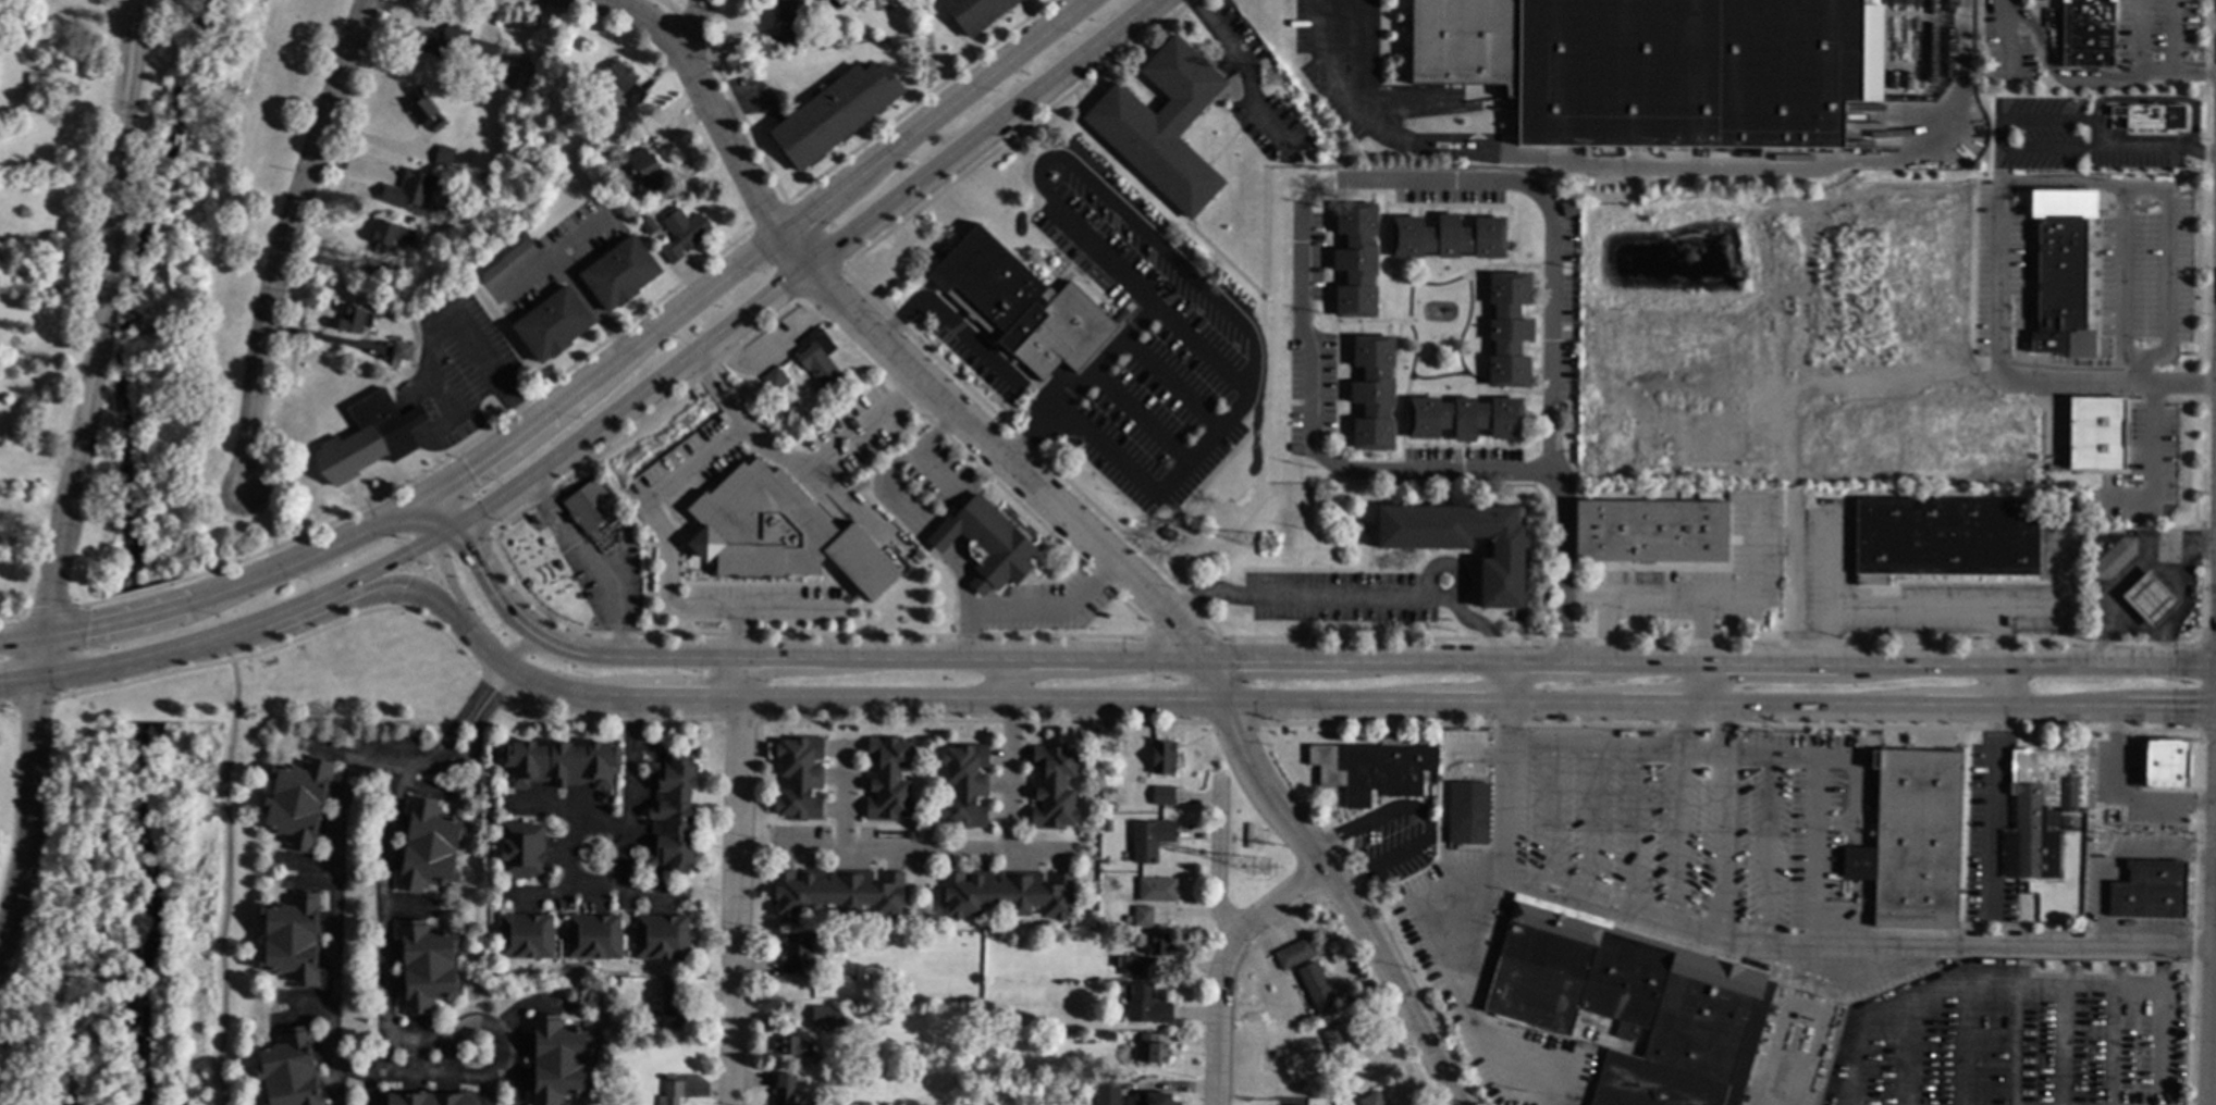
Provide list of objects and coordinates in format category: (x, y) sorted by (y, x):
building: (975, 13)
building: (790, 20)
road: (689, 25)
road: (2007, 32)
building: (2085, 33)
road: (2143, 35)
road: (2175, 35)
building: (457, 45)
building: (1659, 66)
road: (1245, 70)
road: (2092, 74)
power tower: (1276, 77)
building: (623, 86)
building: (487, 87)
road: (1427, 99)
building: (519, 101)
building: (424, 111)
building: (834, 113)
building: (2146, 116)
building: (2116, 117)
building: (1162, 125)
road: (2157, 147)
building: (443, 157)
road: (1657, 159)
building: (648, 173)
road: (1402, 185)
building: (610, 186)
road: (2018, 186)
building: (407, 189)
building: (1568, 209)
building: (647, 225)
building: (681, 234)
building: (390, 235)
building: (1448, 237)
road: (283, 241)
road: (762, 245)
building: (500, 258)
building: (1355, 260)
road: (810, 266)
building: (376, 270)
building: (619, 273)
building: (2060, 273)
park: (199, 280)
road: (2120, 281)
river: (181, 289)
road: (588, 306)
building: (1020, 306)
building: (354, 319)
building: (552, 325)
road: (947, 325)
building: (1507, 330)
building: (401, 351)
building: (817, 360)
road: (484, 361)
road: (1099, 361)
building: (394, 362)
building: (774, 380)
road: (2175, 385)
building: (1371, 392)
building: (1463, 418)
road: (1034, 431)
building: (2095, 435)
building: (368, 438)
road: (833, 448)
building: (1294, 448)
road: (910, 456)
road: (2150, 461)
traffic signals: (470, 470)
road: (72, 474)
road: (470, 493)
road: (272, 506)
building: (589, 506)
road: (647, 511)
road: (1069, 519)
road: (502, 523)
building: (1359, 526)
building: (1650, 531)
building: (778, 533)
building: (1168, 534)
building: (1943, 537)
building: (1462, 542)
power tower: (1270, 544)
building: (986, 545)
road: (269, 548)
traffic signals: (471, 550)
building: (2109, 555)
road: (417, 559)
traffic signals: (417, 560)
road: (438, 560)
road: (441, 564)
road: (586, 564)
road: (2125, 574)
road: (250, 582)
traffic signals: (404, 588)
road: (424, 593)
road: (1347, 596)
building: (2149, 598)
road: (1879, 600)
road: (1672, 603)
road: (1022, 608)
road: (787, 610)
road: (52, 611)
road: (16, 616)
road: (2175, 622)
road: (22, 637)
road: (189, 650)
road: (2166, 650)
road: (73, 651)
river: (143, 653)
road: (232, 659)
road: (1285, 661)
road: (1702, 680)
road: (9, 682)
road: (1528, 682)
road: (2199, 685)
road: (1327, 705)
road: (472, 710)
traffic signals: (2194, 710)
road: (1992, 755)
road: (1755, 756)
road: (1014, 757)
building: (1162, 758)
building: (2164, 762)
building: (561, 763)
road: (631, 767)
building: (1375, 770)
building: (799, 779)
building: (888, 780)
building: (964, 786)
building: (1052, 789)
road: (844, 796)
building: (1162, 796)
road: (2126, 798)
building: (298, 803)
building: (1433, 804)
building: (1111, 806)
building: (2042, 806)
building: (1468, 814)
building: (670, 815)
road: (1423, 818)
building: (1106, 825)
building: (1917, 840)
building: (1150, 841)
road: (568, 843)
building: (2077, 843)
building: (428, 846)
building: (521, 849)
road: (924, 852)
road: (1215, 858)
power tower: (1266, 867)
road: (226, 882)
road: (736, 882)
building: (1157, 891)
building: (2150, 891)
building: (837, 892)
building: (1006, 894)
road: (383, 901)
park: (109, 908)
river: (156, 915)
building: (1143, 918)
road: (333, 919)
building: (1127, 919)
building: (526, 936)
building: (593, 938)
building: (661, 938)
building: (292, 940)
road: (1746, 942)
building: (855, 945)
building: (1159, 946)
building: (1294, 954)
building: (796, 955)
road: (1219, 960)
building: (427, 967)
building: (1132, 967)
road: (2211, 967)
road: (1875, 968)
building: (614, 982)
building: (1318, 990)
building: (1632, 1004)
building: (1146, 1006)
building: (672, 1008)
building: (826, 1017)
building: (1049, 1023)
road: (1775, 1030)
building: (1110, 1038)
road: (1817, 1038)
building: (791, 1046)
building: (1342, 1048)
road: (504, 1050)
building: (1154, 1050)
road: (384, 1058)
building: (556, 1060)
building: (288, 1070)
building: (860, 1083)
building: (785, 1090)
building: (1043, 1090)
building: (1064, 1090)
building: (672, 1092)
building: (1158, 1096)
building: (429, 1097)
building: (1372, 1100)
building: (610, 1104)

